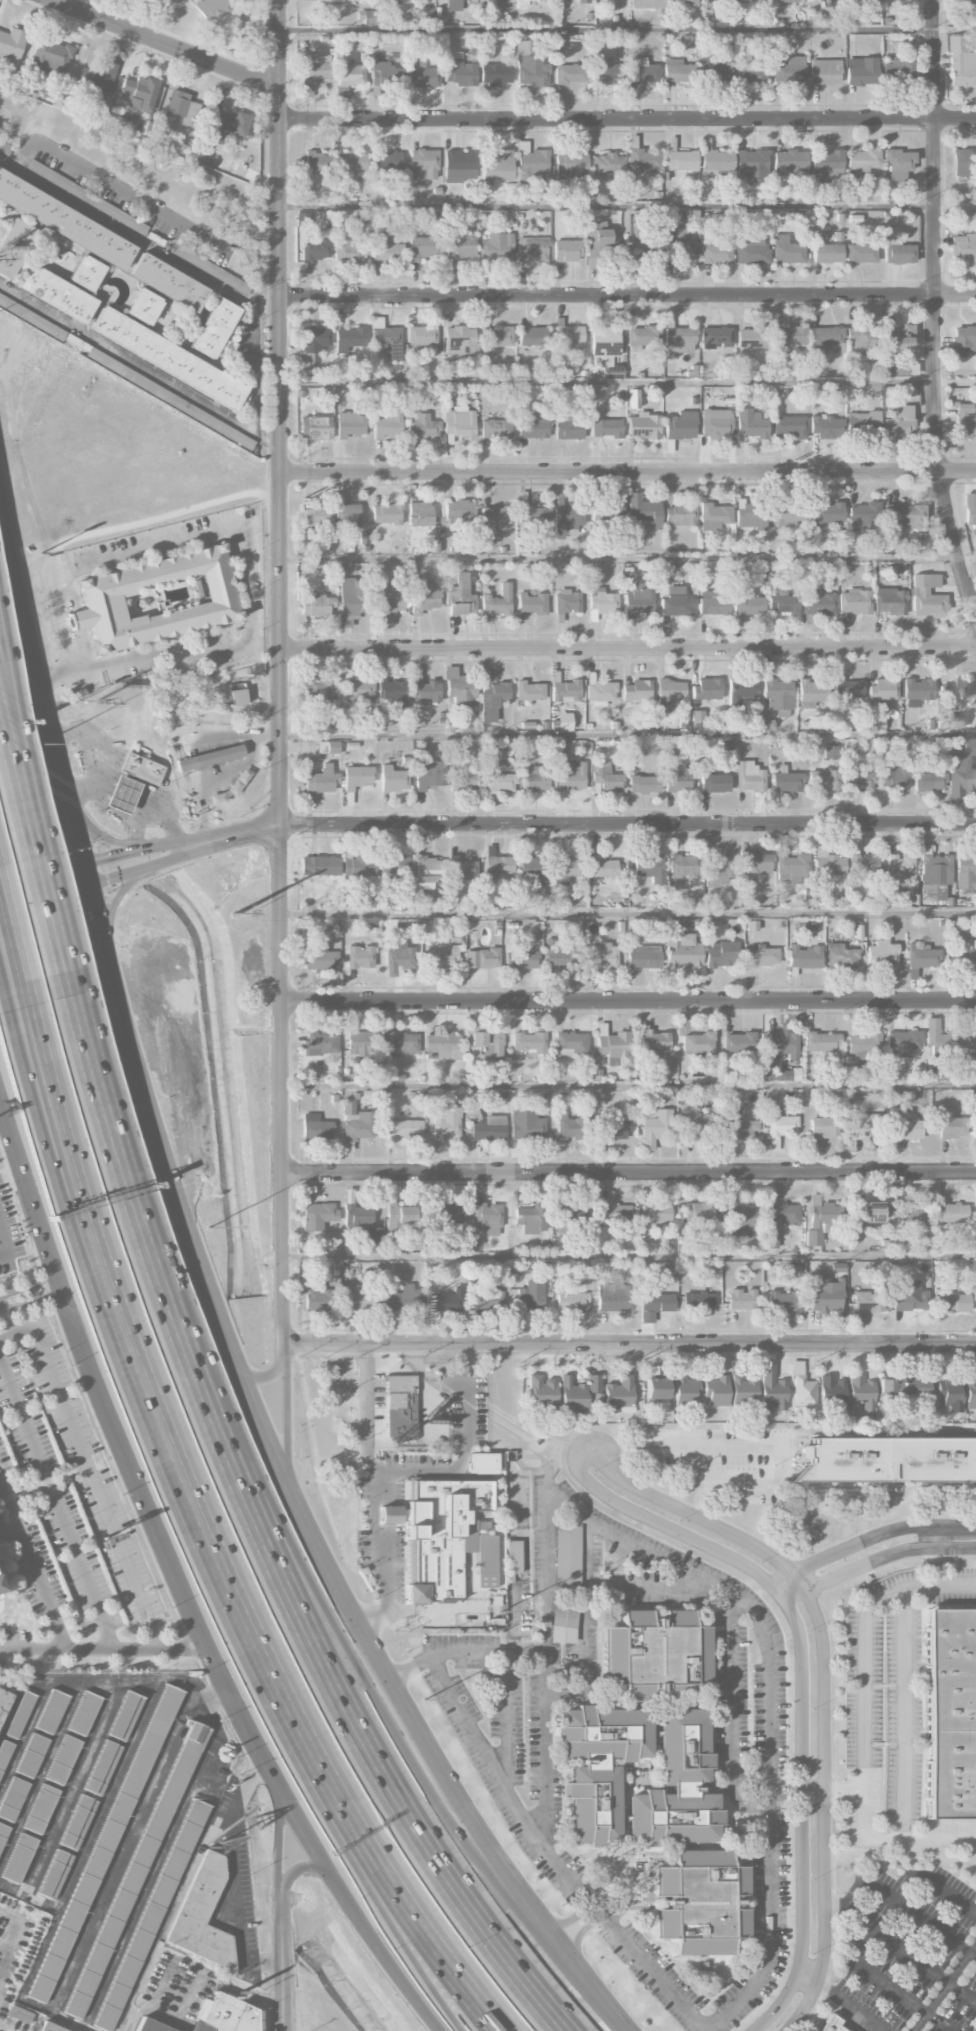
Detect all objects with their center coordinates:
building: (328, 0)
building: (583, 1)
building: (787, 1)
building: (161, 2)
building: (963, 2)
building: (511, 3)
building: (648, 4)
building: (453, 5)
building: (211, 8)
building: (424, 16)
building: (368, 17)
road: (955, 28)
building: (11, 43)
road: (166, 44)
building: (50, 56)
building: (961, 64)
building: (530, 68)
building: (714, 70)
building: (789, 70)
building: (894, 70)
building: (314, 71)
building: (459, 71)
building: (605, 71)
building: (641, 71)
building: (677, 71)
building: (861, 71)
building: (824, 72)
building: (495, 74)
building: (570, 74)
building: (750, 74)
building: (422, 75)
building: (96, 78)
building: (349, 78)
building: (139, 93)
building: (181, 107)
building: (133, 117)
building: (116, 119)
road: (627, 119)
building: (223, 125)
building: (4, 148)
building: (681, 160)
building: (790, 160)
building: (387, 161)
building: (716, 161)
building: (862, 161)
building: (963, 162)
building: (317, 163)
building: (495, 163)
building: (607, 163)
building: (643, 163)
building: (826, 163)
building: (349, 164)
building: (422, 164)
building: (752, 165)
building: (898, 165)
building: (459, 166)
building: (532, 166)
building: (570, 166)
road: (119, 186)
road: (627, 205)
building: (304, 219)
building: (64, 220)
building: (379, 224)
road: (125, 236)
building: (600, 242)
building: (679, 244)
building: (14, 246)
building: (497, 246)
building: (964, 247)
building: (422, 248)
building: (643, 248)
building: (315, 249)
building: (346, 249)
building: (531, 249)
building: (385, 250)
building: (458, 250)
building: (751, 250)
building: (787, 250)
building: (566, 251)
building: (827, 253)
building: (861, 253)
building: (898, 253)
building: (716, 254)
building: (86, 272)
building: (168, 282)
building: (56, 292)
road: (628, 295)
building: (144, 305)
road: (256, 306)
road: (270, 307)
road: (935, 308)
building: (214, 327)
building: (422, 336)
building: (532, 336)
building: (643, 336)
building: (385, 337)
building: (497, 337)
building: (568, 337)
building: (348, 338)
building: (677, 338)
building: (716, 338)
building: (788, 338)
building: (861, 338)
building: (752, 339)
building: (826, 339)
building: (963, 341)
building: (460, 342)
building: (313, 343)
building: (605, 348)
road: (124, 356)
building: (168, 358)
road: (250, 367)
road: (955, 381)
road: (607, 382)
building: (166, 396)
building: (964, 422)
building: (716, 423)
building: (900, 423)
building: (751, 424)
building: (350, 425)
building: (679, 425)
building: (863, 425)
building: (388, 426)
building: (533, 426)
building: (643, 426)
building: (790, 426)
building: (316, 427)
building: (422, 427)
building: (567, 427)
building: (826, 427)
building: (606, 428)
building: (496, 429)
road: (255, 433)
road: (270, 438)
road: (627, 472)
building: (643, 510)
building: (459, 511)
building: (348, 513)
building: (421, 513)
building: (827, 513)
building: (386, 514)
building: (681, 514)
building: (785, 514)
building: (495, 515)
building: (532, 515)
building: (751, 515)
building: (862, 515)
building: (904, 515)
road: (153, 516)
building: (714, 516)
building: (970, 516)
building: (568, 520)
road: (257, 524)
road: (243, 552)
road: (967, 558)
road: (618, 559)
building: (461, 595)
building: (927, 595)
building: (423, 598)
building: (636, 598)
building: (156, 599)
building: (351, 599)
building: (387, 600)
building: (498, 601)
building: (567, 601)
building: (854, 601)
building: (890, 601)
building: (676, 602)
building: (532, 603)
building: (601, 603)
building: (747, 603)
building: (819, 603)
building: (712, 604)
building: (783, 604)
building: (316, 605)
road: (626, 649)
road: (33, 664)
road: (277, 676)
building: (235, 686)
building: (459, 688)
building: (357, 689)
building: (707, 689)
building: (848, 689)
building: (425, 690)
building: (637, 690)
building: (319, 691)
building: (529, 691)
building: (565, 691)
building: (882, 691)
building: (954, 691)
building: (392, 692)
building: (600, 692)
building: (742, 692)
building: (917, 692)
building: (812, 693)
building: (669, 694)
building: (237, 697)
building: (778, 697)
building: (492, 700)
road: (11, 711)
building: (954, 721)
building: (563, 722)
road: (93, 733)
road: (627, 735)
road: (12, 752)
building: (831, 752)
building: (210, 757)
building: (141, 768)
building: (962, 772)
building: (426, 773)
building: (570, 776)
building: (356, 777)
building: (676, 777)
building: (749, 777)
building: (893, 778)
road: (88, 779)
building: (393, 779)
building: (534, 779)
building: (605, 779)
building: (321, 780)
building: (463, 780)
building: (823, 780)
building: (857, 780)
building: (929, 781)
road: (139, 782)
building: (499, 782)
building: (787, 782)
building: (714, 783)
building: (643, 784)
building: (121, 794)
gas station: (121, 794)
road: (171, 811)
road: (627, 825)
road: (141, 828)
road: (78, 829)
road: (234, 836)
road: (103, 837)
road: (46, 839)
road: (137, 849)
traffic signals: (107, 857)
building: (756, 862)
building: (359, 864)
building: (828, 864)
building: (320, 865)
building: (395, 866)
building: (498, 866)
building: (682, 866)
building: (864, 866)
building: (602, 868)
building: (791, 868)
road: (141, 869)
building: (461, 869)
building: (649, 869)
building: (531, 870)
building: (566, 870)
building: (718, 870)
building: (899, 870)
building: (427, 872)
building: (965, 872)
road: (43, 873)
road: (88, 873)
building: (936, 874)
road: (44, 884)
traffic signals: (66, 891)
road: (45, 895)
road: (115, 897)
traffic signals: (96, 906)
road: (628, 915)
power tower: (234, 916)
power tower: (500, 916)
power tower: (742, 916)
road: (98, 918)
road: (56, 928)
road: (13, 931)
building: (961, 948)
building: (682, 952)
building: (882, 954)
building: (602, 956)
building: (721, 956)
building: (762, 956)
building: (360, 957)
building: (560, 957)
building: (642, 957)
building: (804, 957)
building: (840, 957)
building: (398, 958)
building: (441, 958)
building: (481, 958)
building: (521, 958)
building: (921, 958)
building: (320, 959)
road: (1, 983)
road: (628, 1001)
road: (126, 1020)
building: (822, 1041)
building: (529, 1042)
building: (944, 1042)
building: (321, 1043)
building: (360, 1043)
building: (400, 1043)
building: (488, 1043)
building: (652, 1043)
building: (698, 1043)
building: (739, 1043)
building: (903, 1043)
building: (570, 1044)
building: (784, 1044)
building: (444, 1045)
building: (865, 1046)
building: (615, 1049)
building: (972, 1049)
road: (629, 1086)
building: (975, 1116)
building: (356, 1122)
building: (446, 1123)
building: (697, 1123)
building: (527, 1124)
building: (575, 1124)
building: (738, 1124)
building: (779, 1124)
building: (866, 1124)
building: (825, 1126)
building: (654, 1127)
building: (315, 1128)
building: (488, 1128)
building: (952, 1128)
building: (405, 1129)
building: (614, 1129)
building: (906, 1129)
road: (67, 1142)
road: (45, 1149)
road: (166, 1163)
road: (629, 1172)
building: (699, 1212)
building: (782, 1212)
building: (871, 1212)
building: (654, 1213)
building: (952, 1213)
building: (975, 1213)
building: (572, 1214)
building: (615, 1214)
building: (911, 1214)
building: (358, 1215)
building: (317, 1216)
building: (399, 1216)
building: (737, 1217)
building: (487, 1218)
building: (532, 1218)
building: (821, 1222)
road: (45, 1236)
building: (770, 1239)
building: (975, 1239)
road: (630, 1256)
road: (28, 1287)
building: (825, 1293)
building: (531, 1296)
building: (908, 1296)
building: (362, 1298)
building: (615, 1298)
building: (405, 1299)
building: (486, 1299)
building: (741, 1300)
building: (783, 1300)
building: (868, 1300)
building: (447, 1301)
building: (655, 1301)
building: (698, 1301)
road: (31, 1302)
building: (572, 1302)
building: (952, 1303)
road: (630, 1344)
road: (265, 1377)
building: (593, 1383)
building: (919, 1387)
building: (654, 1388)
building: (890, 1388)
building: (744, 1389)
building: (684, 1391)
building: (716, 1391)
building: (772, 1391)
building: (803, 1391)
building: (832, 1392)
building: (970, 1392)
building: (949, 1393)
building: (541, 1394)
building: (617, 1394)
building: (572, 1395)
building: (861, 1395)
building: (400, 1406)
road: (287, 1418)
road: (424, 1446)
road: (749, 1446)
road: (461, 1456)
building: (889, 1458)
building: (485, 1459)
road: (518, 1461)
road: (91, 1472)
road: (688, 1478)
road: (377, 1494)
road: (57, 1507)
road: (148, 1512)
building: (0, 1519)
road: (253, 1530)
building: (443, 1531)
road: (869, 1539)
road: (639, 1547)
road: (934, 1555)
building: (567, 1556)
building: (514, 1557)
building: (487, 1560)
road: (876, 1560)
road: (34, 1564)
road: (523, 1582)
road: (230, 1585)
road: (918, 1585)
road: (643, 1587)
road: (343, 1593)
building: (563, 1622)
road: (579, 1622)
road: (104, 1650)
building: (656, 1653)
road: (409, 1666)
road: (802, 1683)
road: (360, 1684)
road: (731, 1686)
road: (822, 1689)
building: (3, 1699)
building: (950, 1711)
building: (51, 1712)
building: (84, 1713)
road: (903, 1713)
building: (20, 1715)
building: (125, 1716)
road: (506, 1720)
building: (605, 1732)
road: (546, 1745)
building: (682, 1746)
building: (4, 1753)
building: (32, 1755)
building: (63, 1760)
building: (102, 1768)
road: (864, 1777)
road: (733, 1789)
road: (843, 1789)
building: (13, 1799)
building: (594, 1803)
building: (41, 1809)
building: (672, 1816)
building: (77, 1822)
road: (279, 1831)
building: (3, 1834)
road: (968, 1843)
building: (104, 1844)
road: (311, 1848)
building: (19, 1858)
road: (297, 1868)
road: (238, 1873)
building: (54, 1874)
road: (621, 1883)
road: (952, 1894)
building: (701, 1900)
building: (201, 1912)
road: (923, 1917)
road: (431, 1948)
road: (406, 1950)
road: (899, 1951)
road: (282, 1959)
road: (579, 1979)
road: (944, 1985)
road: (901, 1993)
road: (844, 1999)
building: (224, 2015)
building: (829, 2023)
road: (861, 2023)
building: (151, 2026)
building: (50, 2027)

